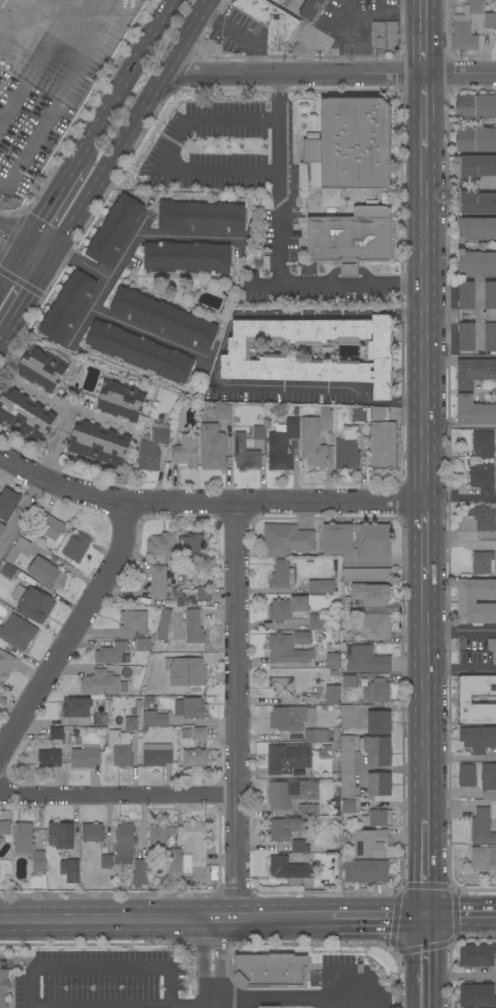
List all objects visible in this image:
building: (277, 1)
building: (299, 3)
road: (49, 4)
building: (476, 7)
building: (311, 9)
road: (355, 11)
building: (490, 20)
road: (9, 21)
building: (270, 21)
road: (239, 34)
building: (384, 35)
road: (186, 37)
road: (421, 37)
building: (463, 37)
road: (361, 43)
road: (85, 61)
road: (459, 73)
road: (293, 74)
road: (124, 82)
building: (476, 106)
road: (422, 110)
building: (313, 134)
building: (476, 139)
building: (355, 142)
building: (312, 150)
road: (165, 158)
building: (477, 166)
road: (107, 167)
road: (279, 180)
parking lot: (246, 186)
building: (477, 202)
road: (51, 205)
building: (201, 216)
building: (477, 229)
building: (114, 230)
road: (189, 238)
road: (12, 239)
building: (349, 241)
traffic signals: (25, 246)
road: (125, 248)
road: (37, 253)
building: (188, 257)
traffic signals: (50, 261)
building: (476, 263)
road: (12, 266)
road: (102, 286)
road: (339, 287)
road: (25, 301)
building: (68, 306)
building: (466, 316)
building: (490, 316)
building: (164, 318)
road: (424, 324)
road: (148, 332)
building: (139, 351)
building: (312, 351)
road: (218, 356)
building: (41, 368)
building: (475, 372)
building: (122, 400)
building: (223, 411)
building: (474, 411)
building: (379, 413)
building: (25, 414)
building: (358, 414)
building: (160, 417)
building: (326, 419)
building: (159, 425)
road: (459, 426)
building: (259, 433)
building: (151, 435)
building: (161, 436)
road: (55, 441)
building: (99, 443)
building: (312, 443)
building: (483, 443)
building: (282, 445)
building: (383, 445)
building: (213, 447)
building: (186, 451)
building: (347, 451)
building: (163, 453)
building: (245, 453)
building: (148, 456)
building: (482, 478)
road: (459, 501)
building: (8, 503)
road: (206, 504)
road: (20, 510)
building: (485, 518)
building: (48, 525)
building: (2, 528)
road: (423, 532)
road: (460, 534)
building: (287, 539)
building: (337, 539)
building: (374, 540)
building: (193, 545)
road: (460, 545)
building: (163, 546)
building: (76, 547)
building: (17, 549)
road: (387, 561)
building: (481, 562)
building: (7, 569)
building: (46, 572)
building: (280, 574)
building: (365, 574)
building: (159, 581)
building: (315, 586)
building: (17, 591)
building: (204, 593)
building: (373, 596)
building: (467, 601)
building: (35, 604)
building: (344, 604)
building: (288, 609)
building: (315, 622)
building: (132, 623)
building: (164, 624)
building: (178, 626)
building: (377, 626)
building: (194, 627)
road: (71, 629)
road: (460, 630)
building: (17, 631)
building: (302, 637)
building: (104, 643)
building: (143, 644)
building: (492, 649)
building: (287, 650)
building: (113, 654)
building: (333, 659)
building: (366, 660)
building: (5, 663)
road: (461, 669)
building: (187, 672)
building: (349, 681)
building: (102, 683)
building: (282, 686)
road: (427, 689)
building: (376, 691)
building: (333, 695)
building: (465, 699)
building: (189, 708)
building: (86, 709)
road: (235, 712)
building: (347, 716)
building: (291, 718)
building: (154, 719)
building: (131, 723)
building: (379, 723)
building: (56, 733)
building: (199, 733)
building: (316, 735)
building: (478, 739)
building: (120, 748)
building: (376, 750)
building: (324, 752)
building: (157, 755)
building: (50, 758)
building: (84, 758)
building: (194, 758)
building: (288, 758)
road: (462, 758)
building: (347, 766)
building: (467, 775)
building: (488, 777)
building: (379, 784)
road: (117, 793)
building: (290, 794)
road: (461, 795)
building: (348, 805)
building: (309, 810)
building: (377, 818)
building: (482, 827)
building: (5, 828)
building: (286, 828)
building: (92, 832)
building: (160, 834)
building: (61, 835)
building: (343, 836)
building: (23, 837)
building: (38, 838)
building: (1, 839)
building: (370, 843)
building: (196, 846)
building: (299, 846)
building: (132, 852)
building: (35, 854)
building: (481, 858)
building: (107, 861)
building: (174, 863)
building: (39, 865)
road: (428, 867)
building: (70, 870)
building: (285, 870)
building: (308, 871)
building: (365, 871)
building: (213, 873)
road: (379, 917)
road: (462, 917)
road: (165, 920)
building: (477, 955)
road: (416, 961)
road: (433, 962)
road: (211, 964)
building: (270, 969)
road: (100, 971)
road: (464, 975)
road: (495, 975)
parking lot: (105, 980)
building: (3, 987)
road: (299, 996)
building: (477, 996)
road: (189, 1007)
building: (270, 1007)

